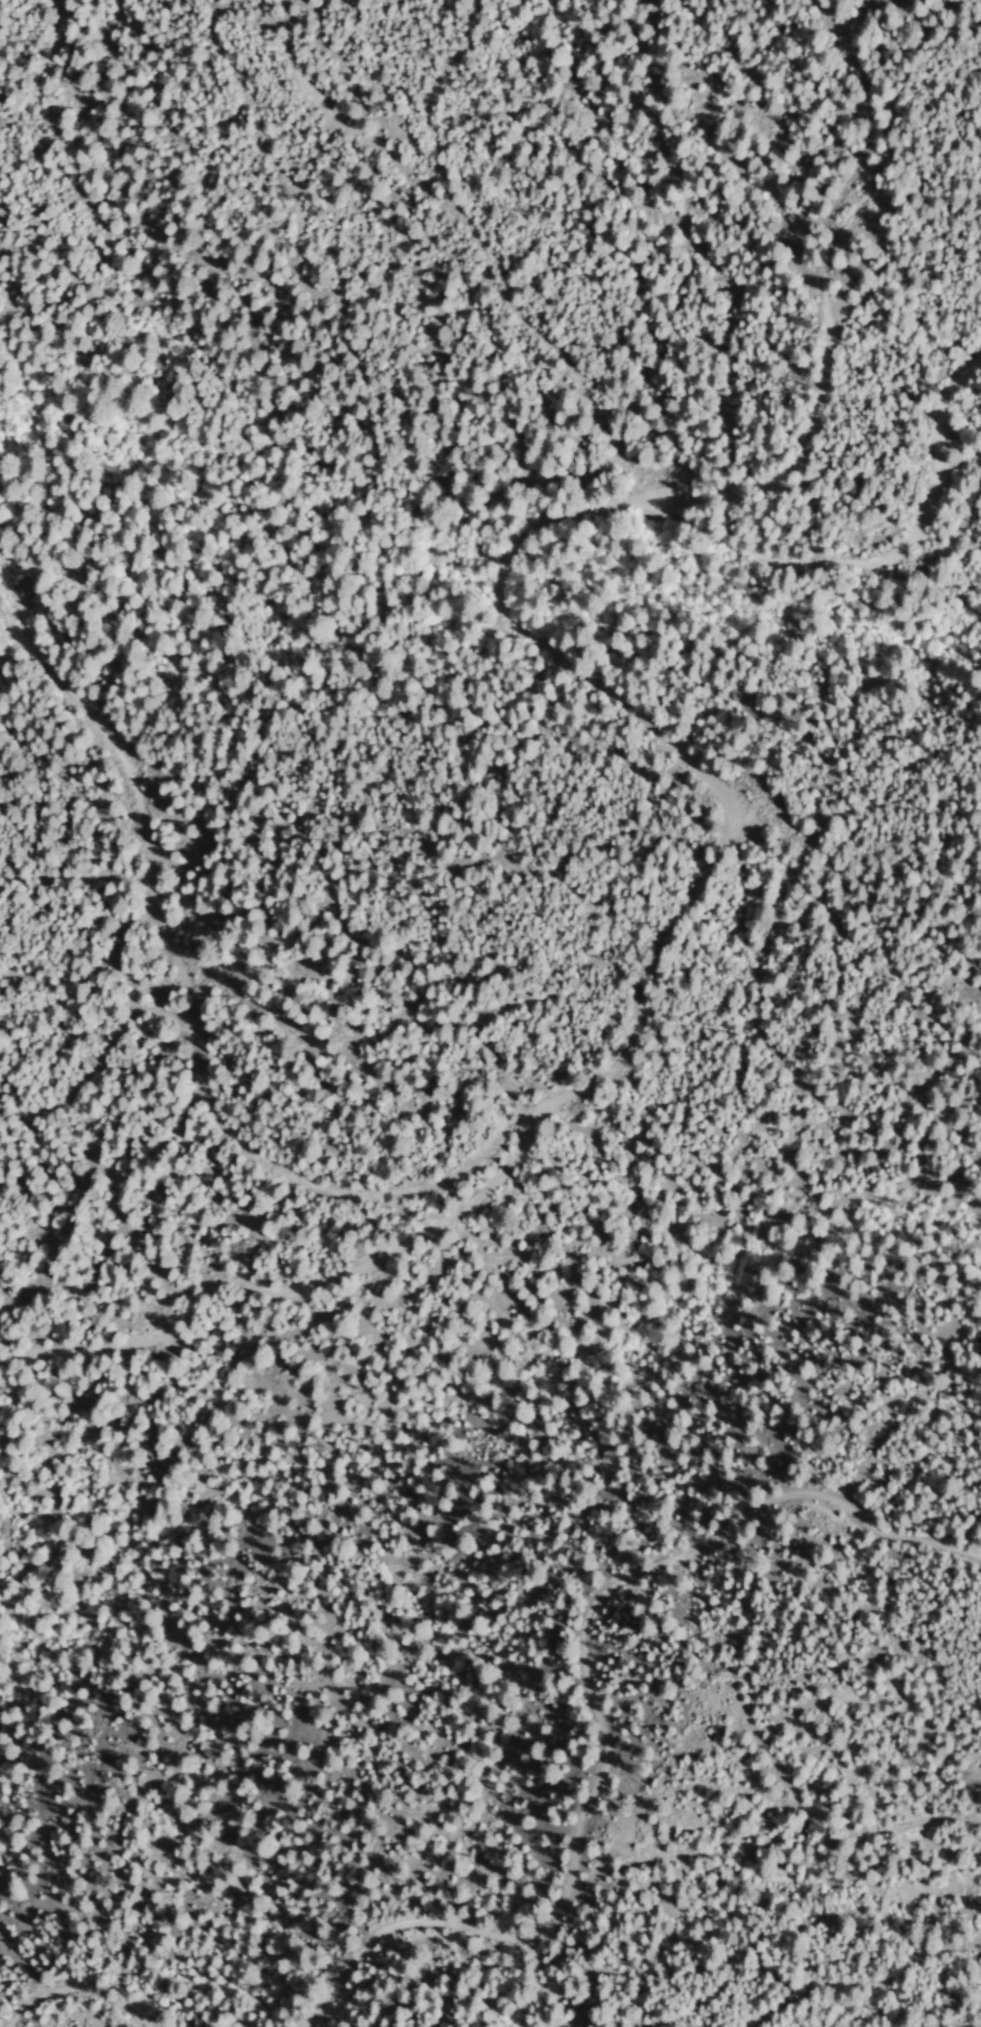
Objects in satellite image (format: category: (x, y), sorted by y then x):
road: (651, 859)
road: (601, 1688)

